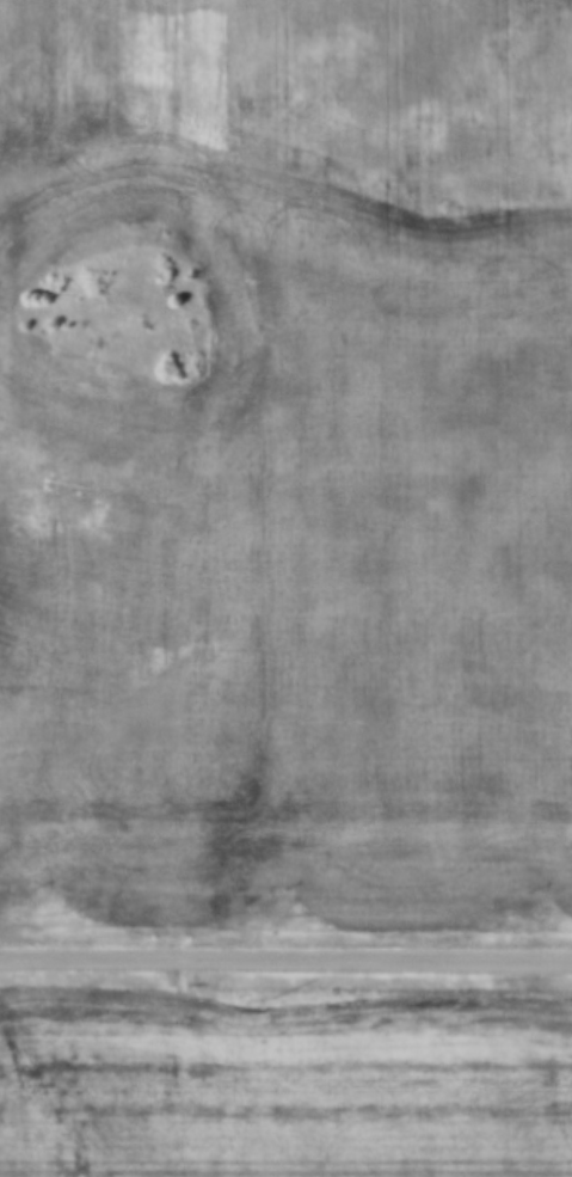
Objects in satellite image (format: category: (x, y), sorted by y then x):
road: (285, 954)

